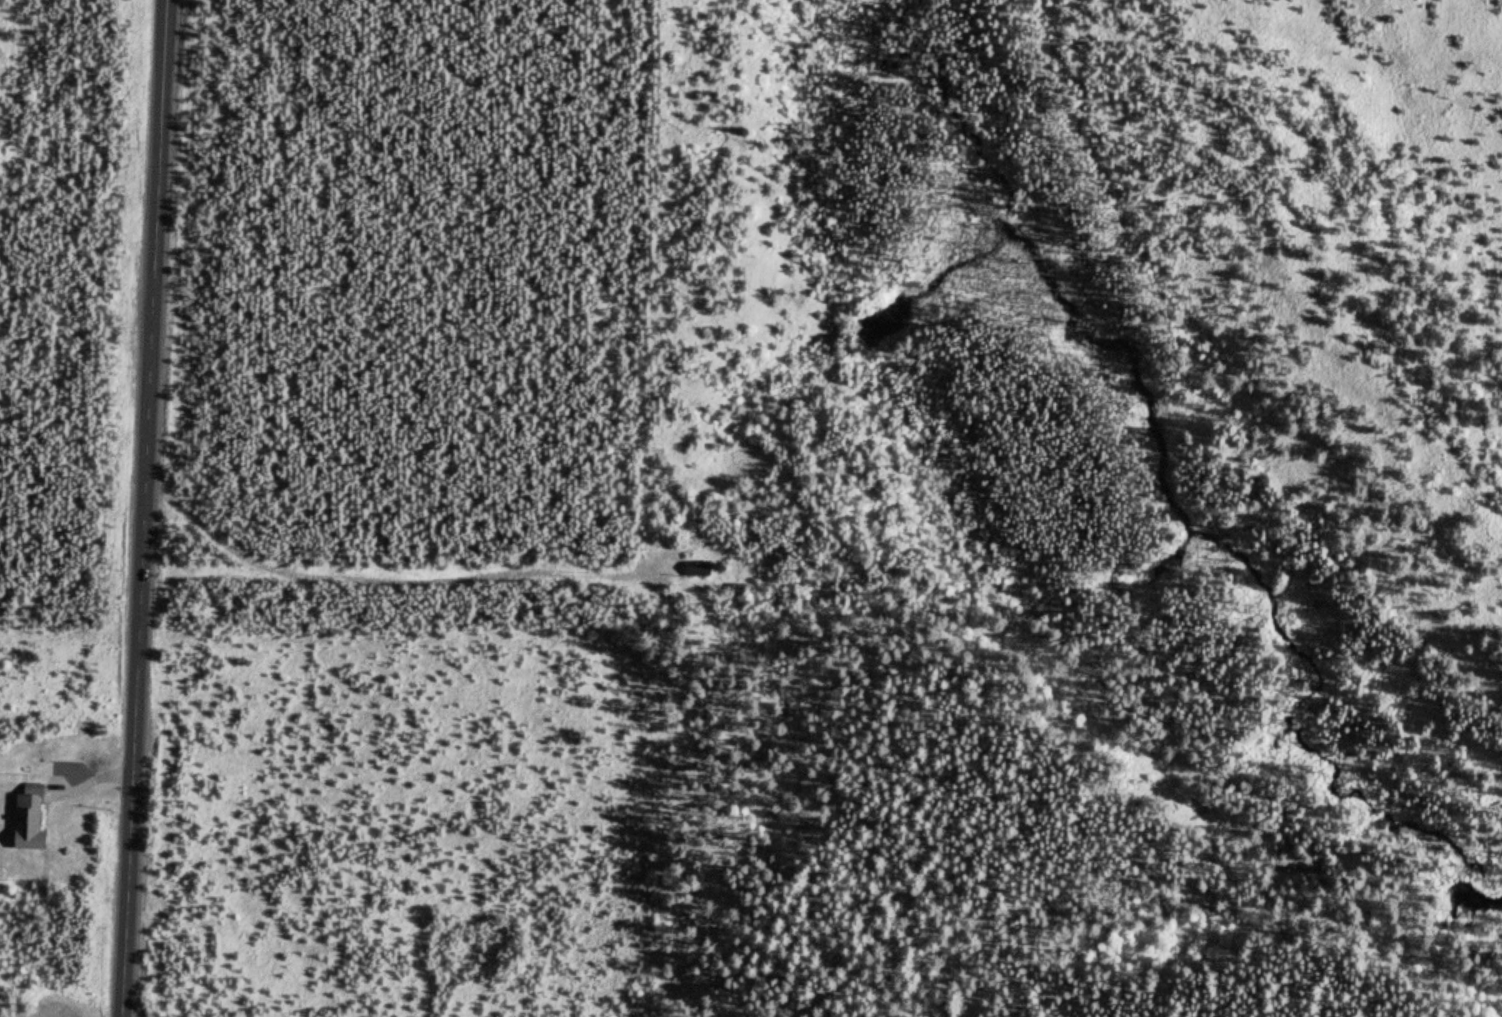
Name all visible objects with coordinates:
road: (76, 110)
road: (140, 508)
road: (308, 551)
building: (693, 569)
building: (23, 818)

